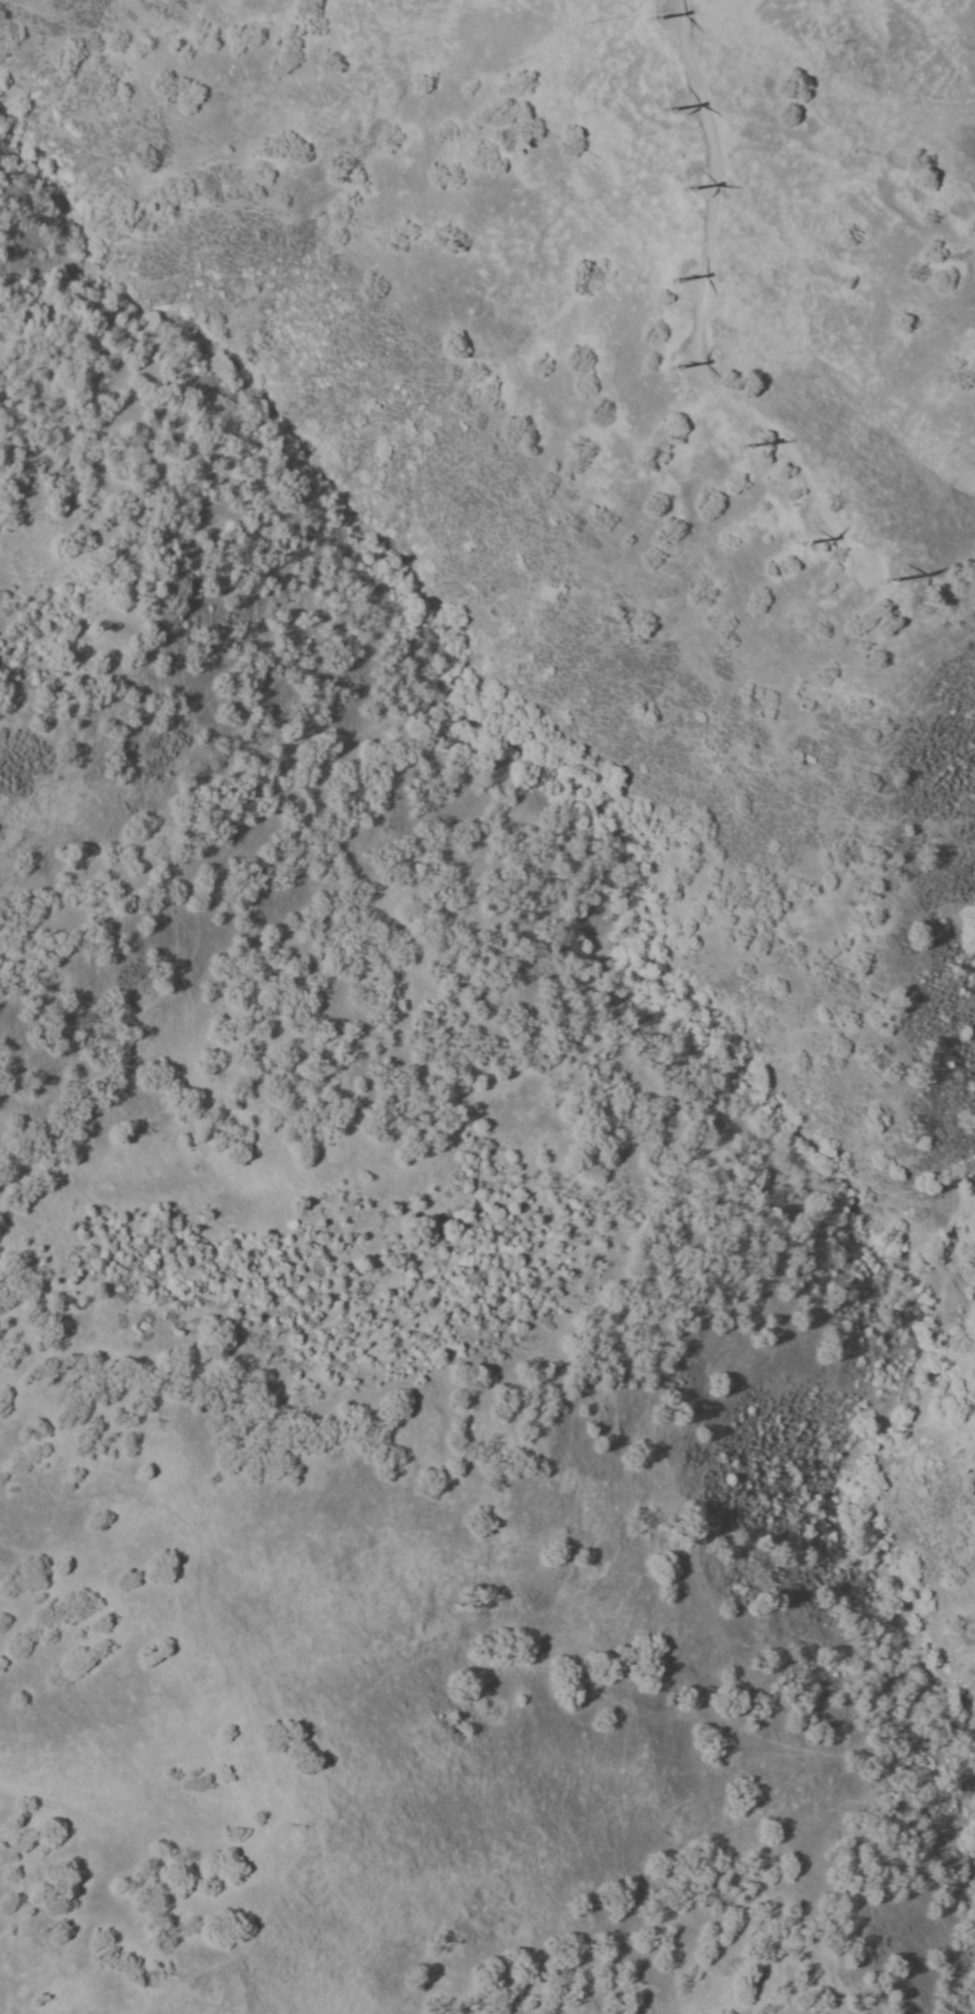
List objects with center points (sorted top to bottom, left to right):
wind turbine: (647, 18)
wind turbine: (657, 106)
wind turbine: (677, 185)
wind turbine: (669, 278)
road: (696, 318)
wind turbine: (670, 363)
wind turbine: (732, 444)
wind turbine: (795, 540)
wind turbine: (871, 582)
road: (149, 1502)
road: (16, 1539)
road: (274, 1869)

